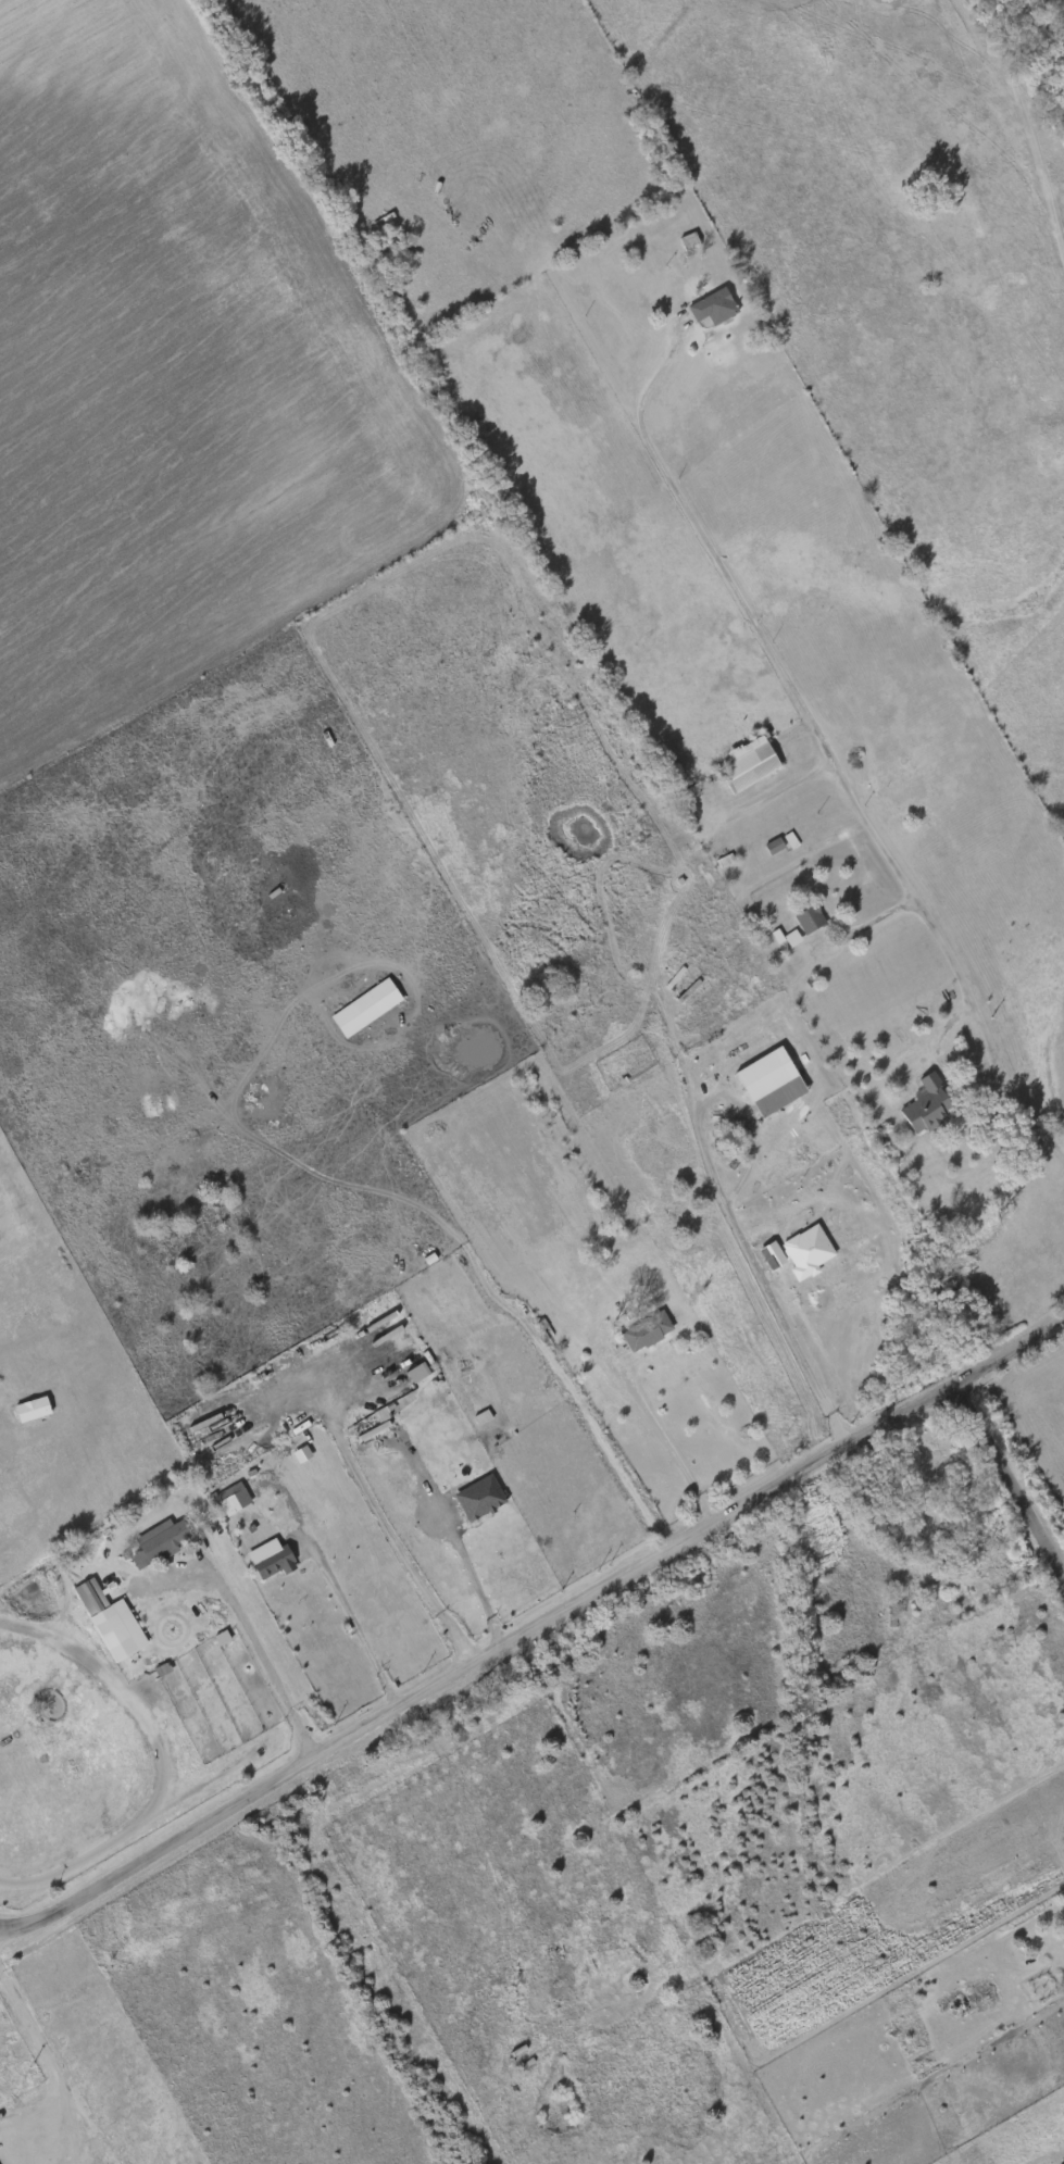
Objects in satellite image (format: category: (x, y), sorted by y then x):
building: (572, 227)
building: (689, 241)
building: (712, 307)
road: (829, 746)
building: (746, 760)
building: (775, 845)
building: (809, 918)
road: (865, 925)
building: (792, 939)
building: (366, 1009)
building: (769, 1081)
building: (927, 1104)
road: (729, 1213)
building: (808, 1252)
road: (492, 1294)
building: (647, 1328)
building: (417, 1373)
building: (441, 1374)
building: (33, 1410)
road: (677, 1450)
road: (1011, 1481)
building: (480, 1498)
building: (230, 1499)
road: (380, 1517)
building: (160, 1539)
road: (451, 1541)
building: (989, 1558)
building: (271, 1560)
building: (93, 1600)
road: (354, 1623)
road: (242, 1626)
road: (540, 1626)
road: (9, 1929)
road: (54, 2071)

